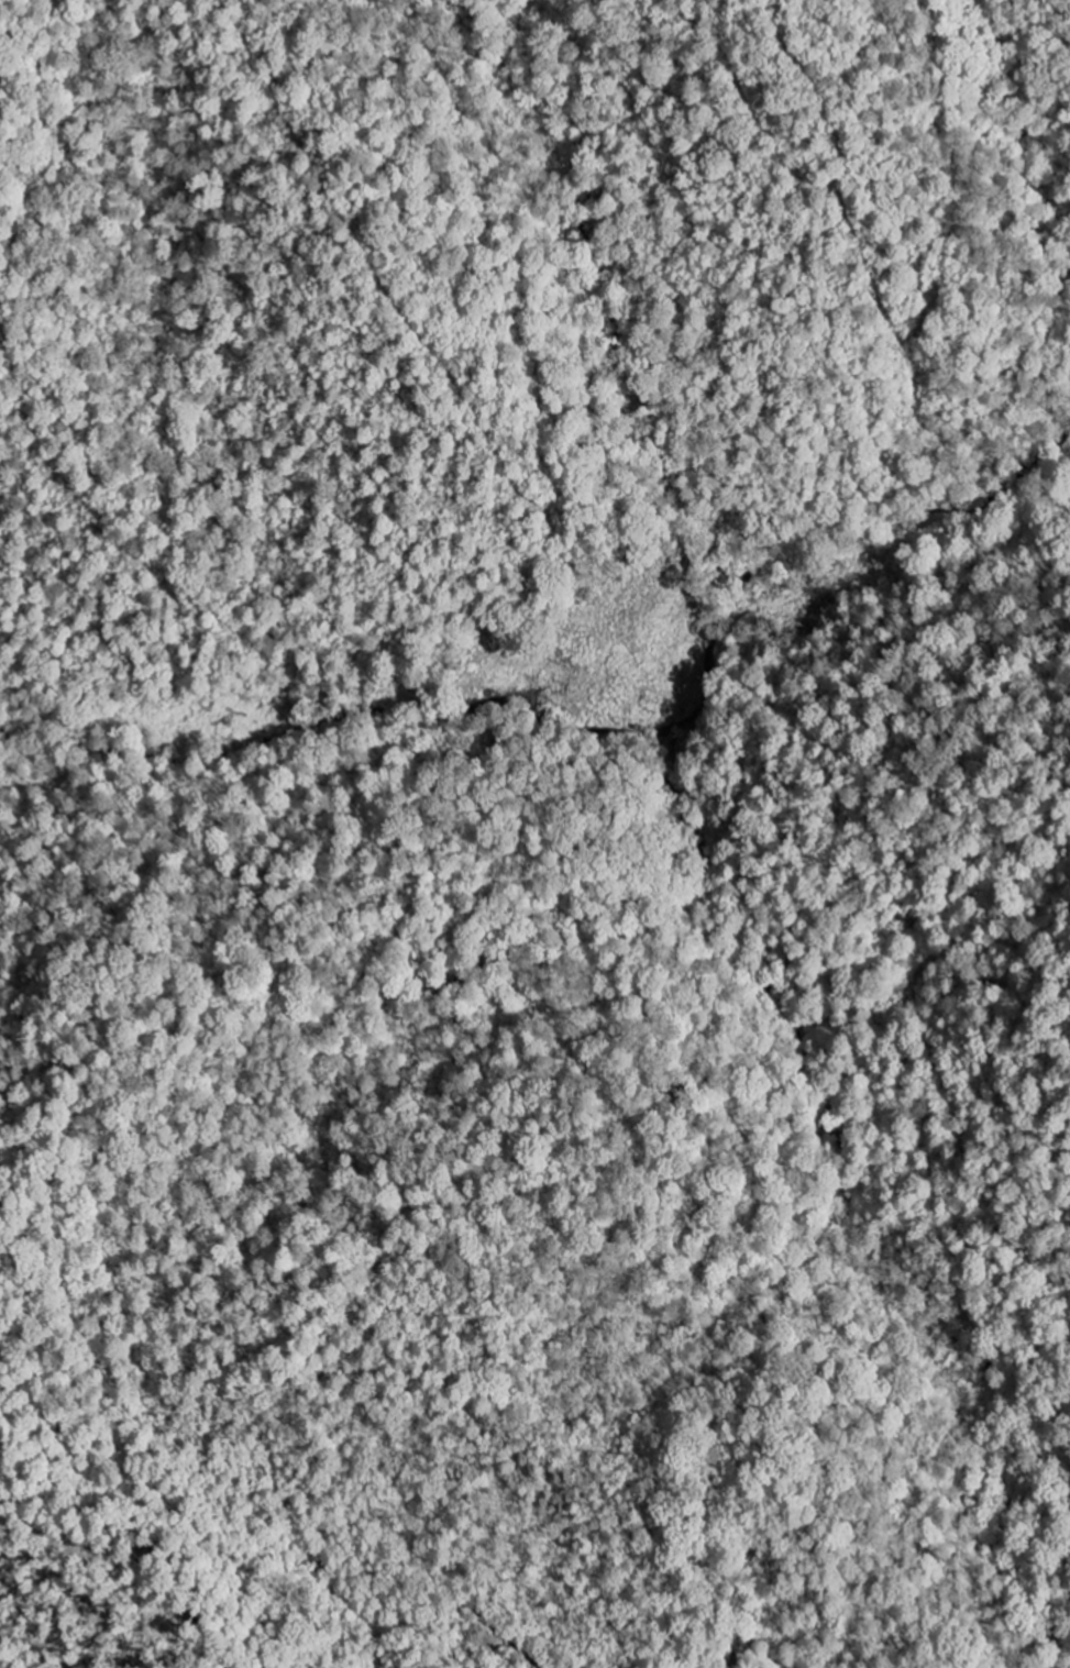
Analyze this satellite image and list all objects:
road: (572, 729)

